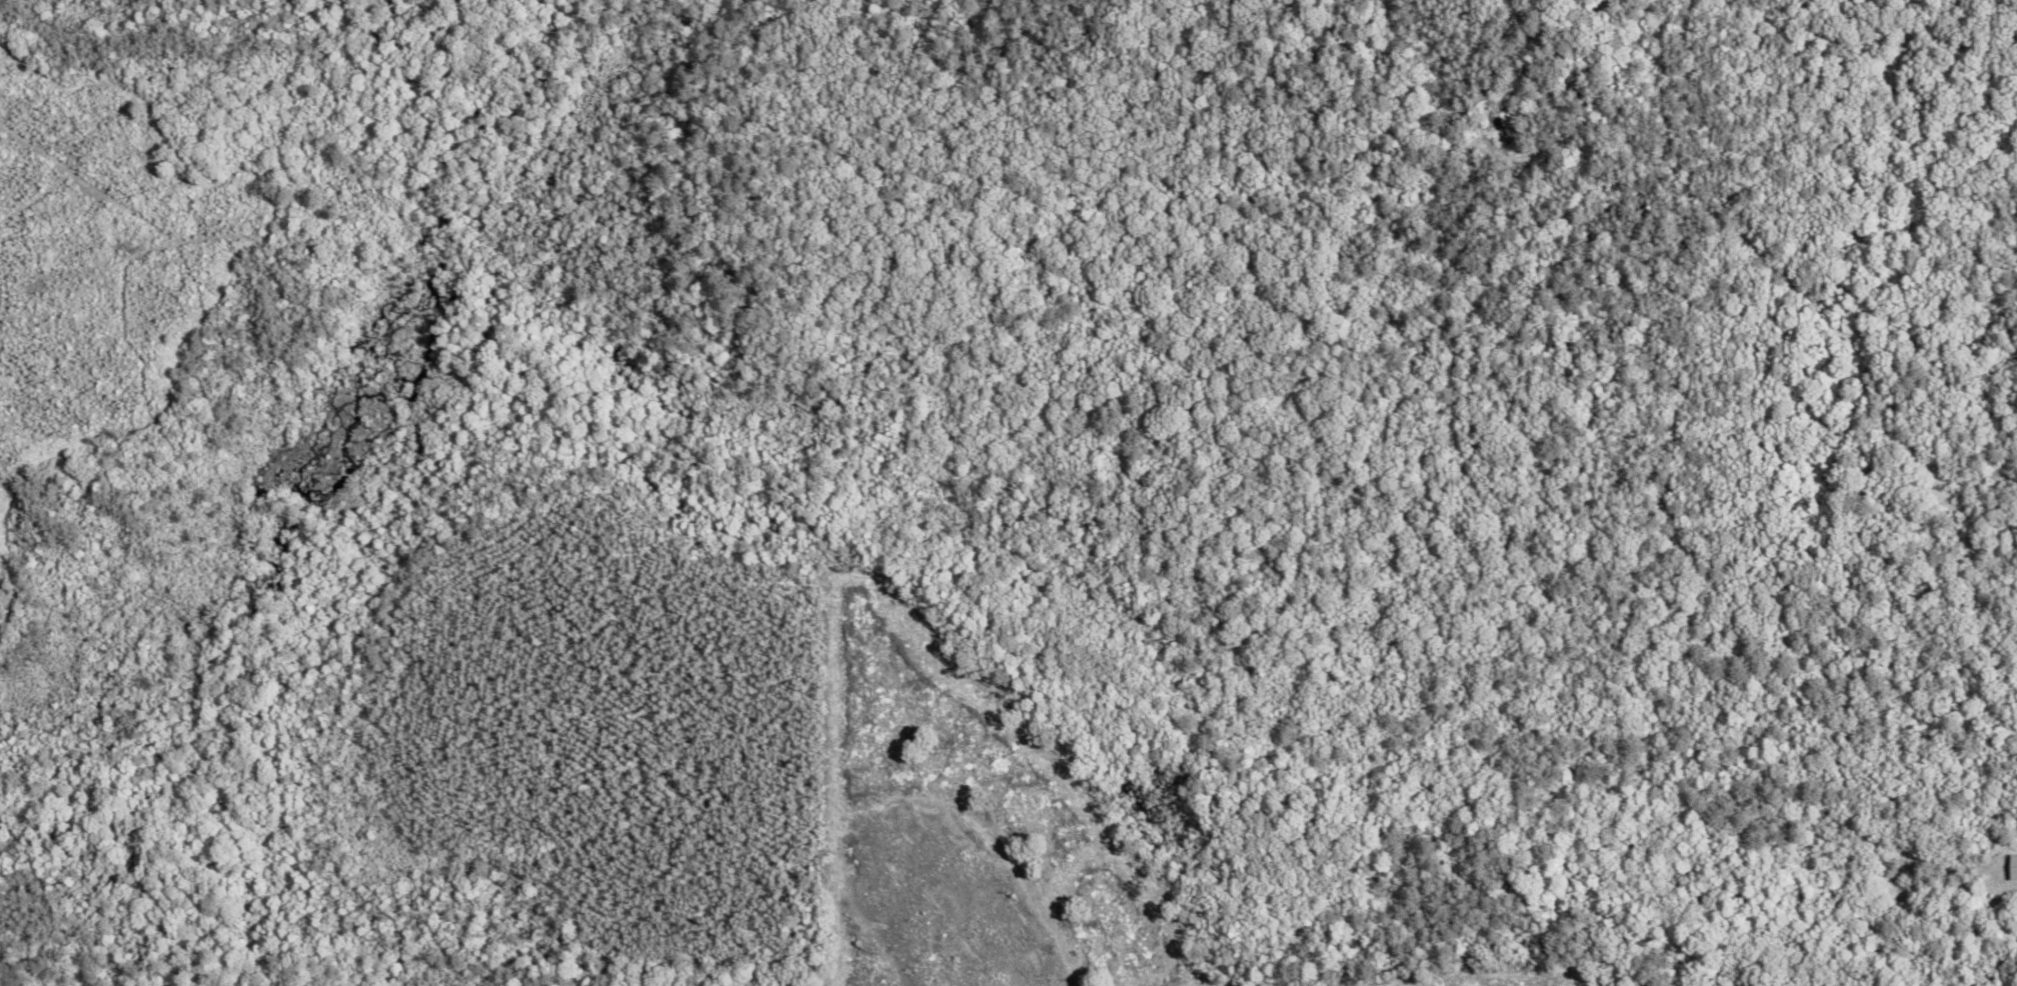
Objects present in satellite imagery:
building: (2013, 868)

